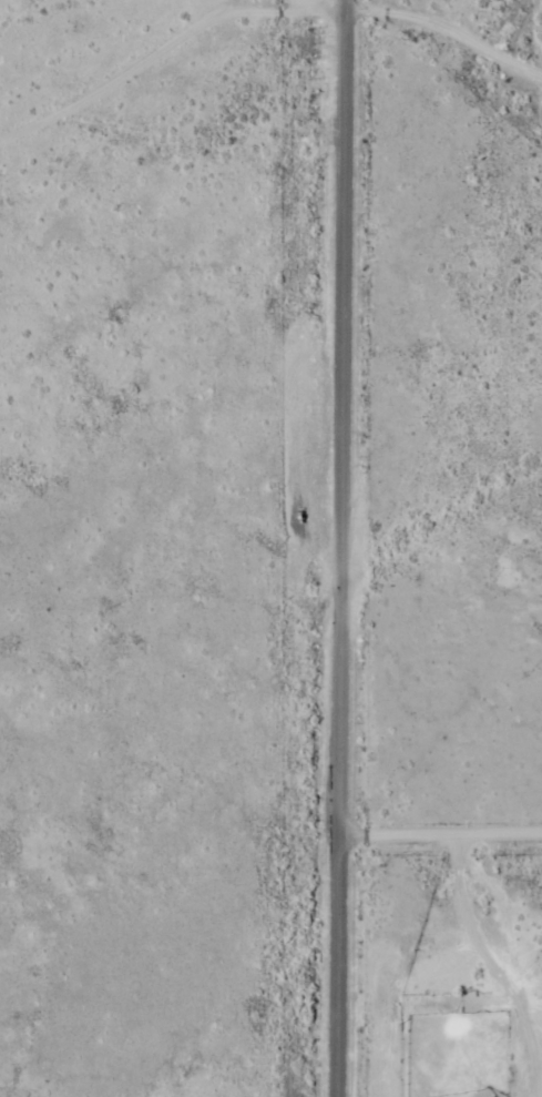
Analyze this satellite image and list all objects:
road: (447, 22)
road: (163, 40)
road: (338, 548)
road: (438, 826)
road: (493, 961)

